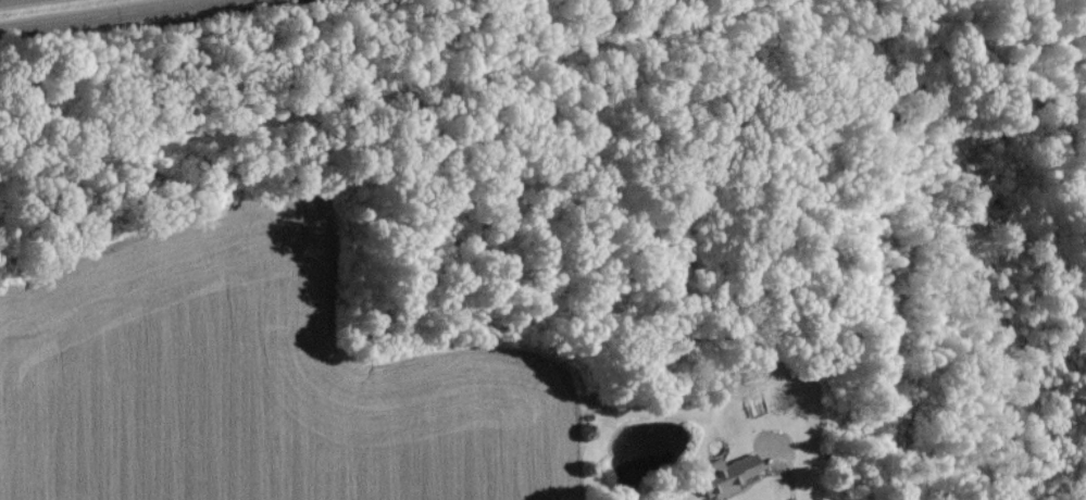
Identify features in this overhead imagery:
road: (90, 13)
road: (797, 465)
building: (732, 471)

